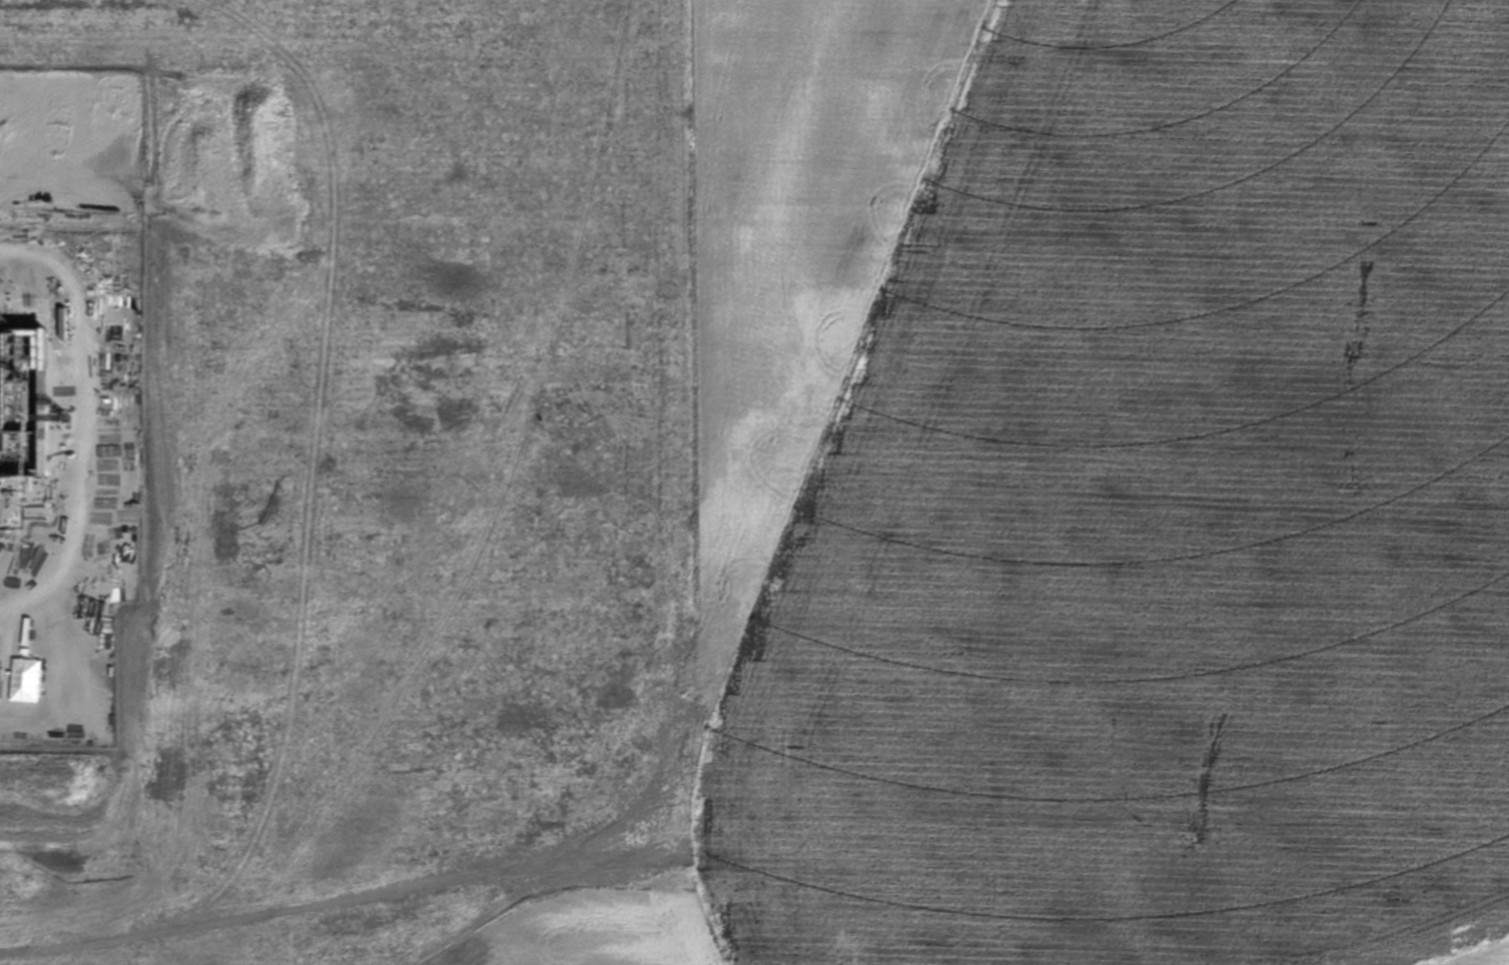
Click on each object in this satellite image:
crop: (754, 482)

